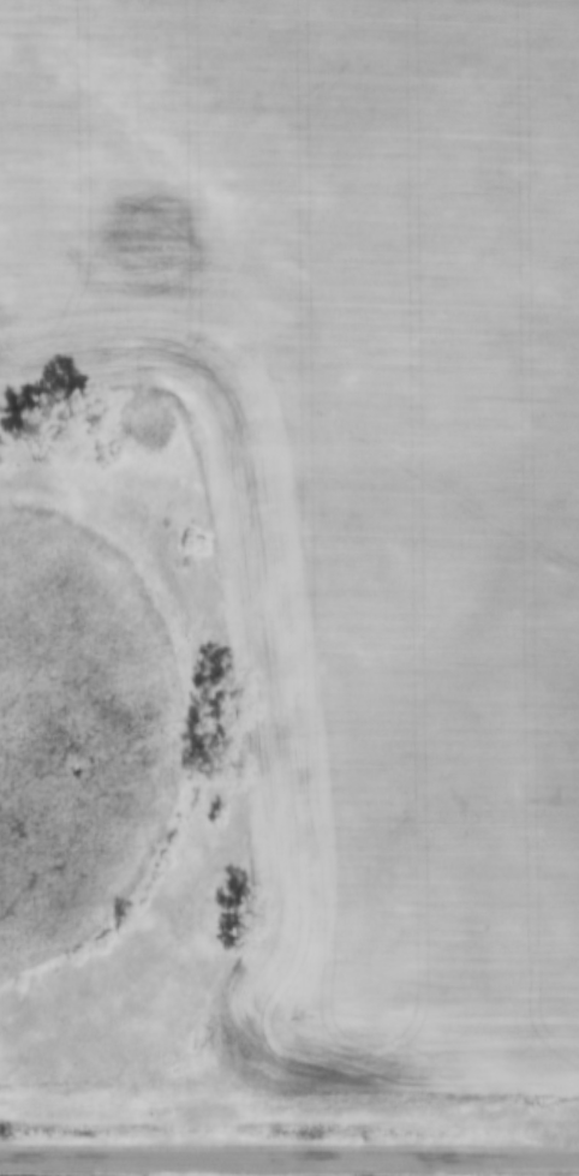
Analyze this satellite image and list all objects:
road: (288, 1157)

